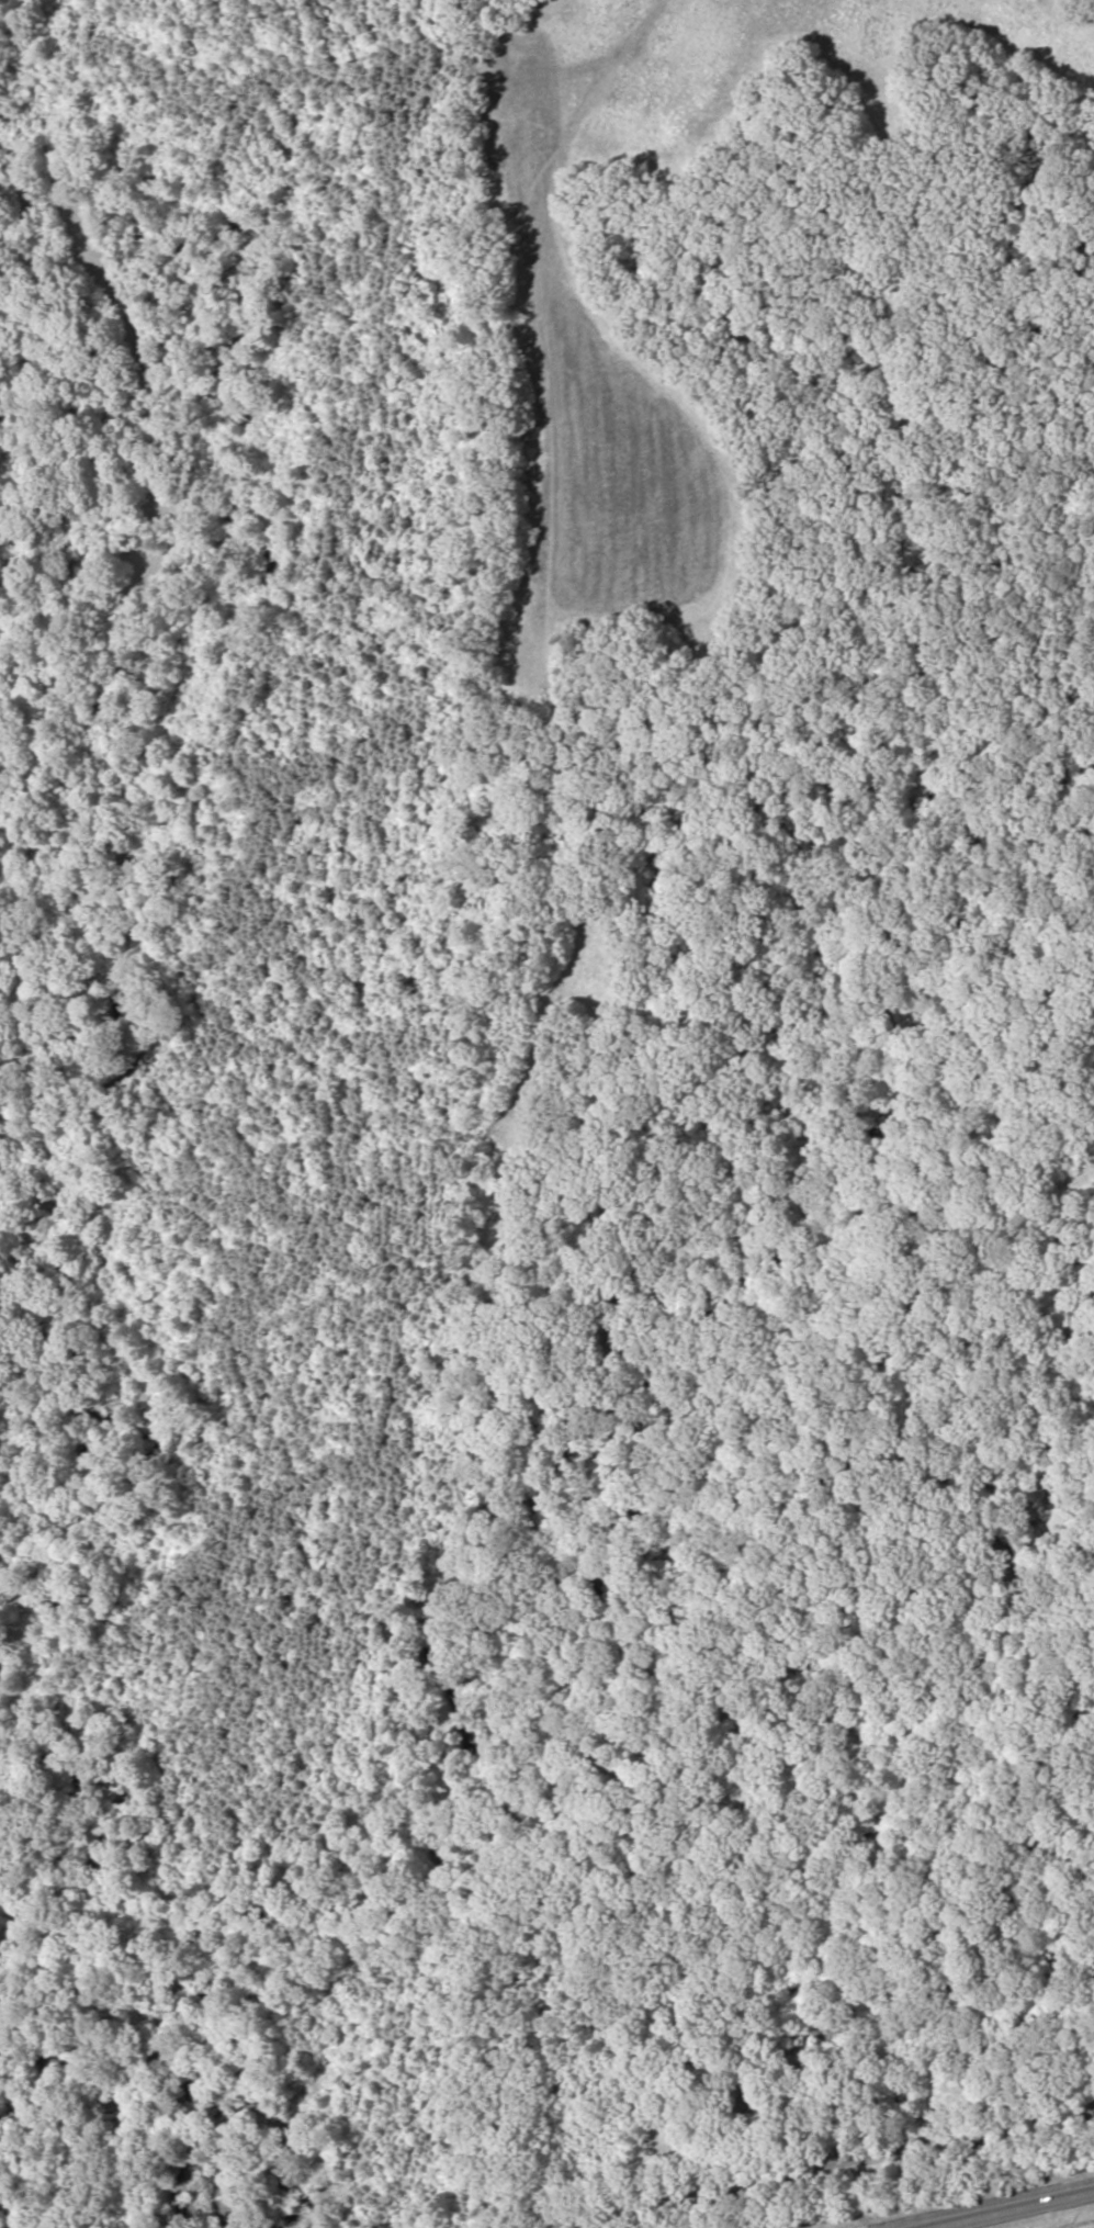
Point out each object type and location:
road: (822, 2165)
road: (1015, 2210)

